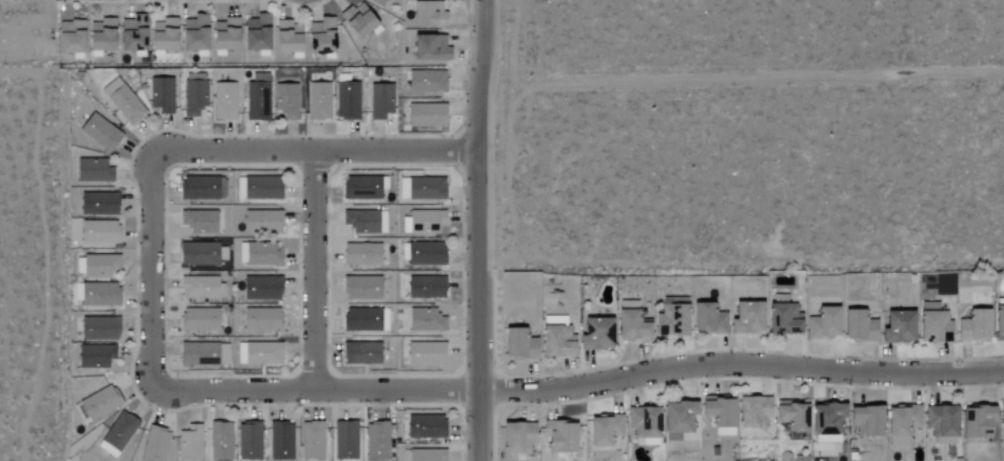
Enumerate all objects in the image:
building: (376, 2)
building: (427, 14)
building: (357, 20)
building: (193, 33)
building: (256, 33)
building: (132, 34)
building: (100, 35)
building: (162, 35)
building: (224, 35)
building: (69, 36)
building: (321, 36)
building: (287, 37)
building: (429, 48)
building: (426, 81)
building: (194, 94)
building: (161, 95)
building: (257, 98)
building: (346, 99)
building: (122, 101)
building: (286, 101)
building: (318, 101)
building: (380, 101)
building: (224, 102)
building: (425, 115)
building: (99, 132)
road: (321, 154)
building: (93, 171)
building: (202, 188)
building: (261, 188)
building: (360, 188)
building: (425, 188)
building: (98, 204)
building: (198, 221)
building: (262, 221)
building: (365, 221)
building: (425, 221)
road: (484, 230)
building: (100, 232)
road: (59, 237)
building: (201, 254)
building: (360, 254)
building: (423, 254)
building: (262, 255)
building: (99, 266)
road: (158, 272)
road: (319, 273)
building: (200, 287)
building: (425, 287)
building: (261, 288)
building: (361, 288)
building: (97, 294)
building: (746, 318)
building: (261, 319)
building: (707, 319)
building: (199, 320)
building: (364, 320)
building: (425, 320)
building: (671, 320)
building: (783, 320)
building: (998, 321)
building: (823, 324)
building: (631, 327)
building: (858, 327)
building: (897, 327)
building: (934, 327)
building: (973, 327)
building: (99, 329)
building: (595, 335)
building: (556, 341)
building: (518, 345)
building: (260, 353)
building: (361, 353)
building: (204, 354)
building: (425, 354)
building: (95, 356)
road: (581, 389)
building: (99, 403)
building: (717, 411)
building: (1002, 415)
building: (792, 416)
building: (677, 417)
building: (754, 417)
building: (827, 420)
building: (866, 421)
building: (941, 421)
building: (976, 421)
building: (901, 424)
building: (643, 425)
building: (425, 427)
building: (604, 430)
building: (118, 432)
building: (517, 438)
building: (559, 438)
building: (280, 440)
building: (312, 440)
building: (221, 441)
building: (249, 441)
building: (345, 441)
building: (377, 441)
building: (189, 444)
building: (155, 445)
building: (426, 455)
building: (274, 460)

